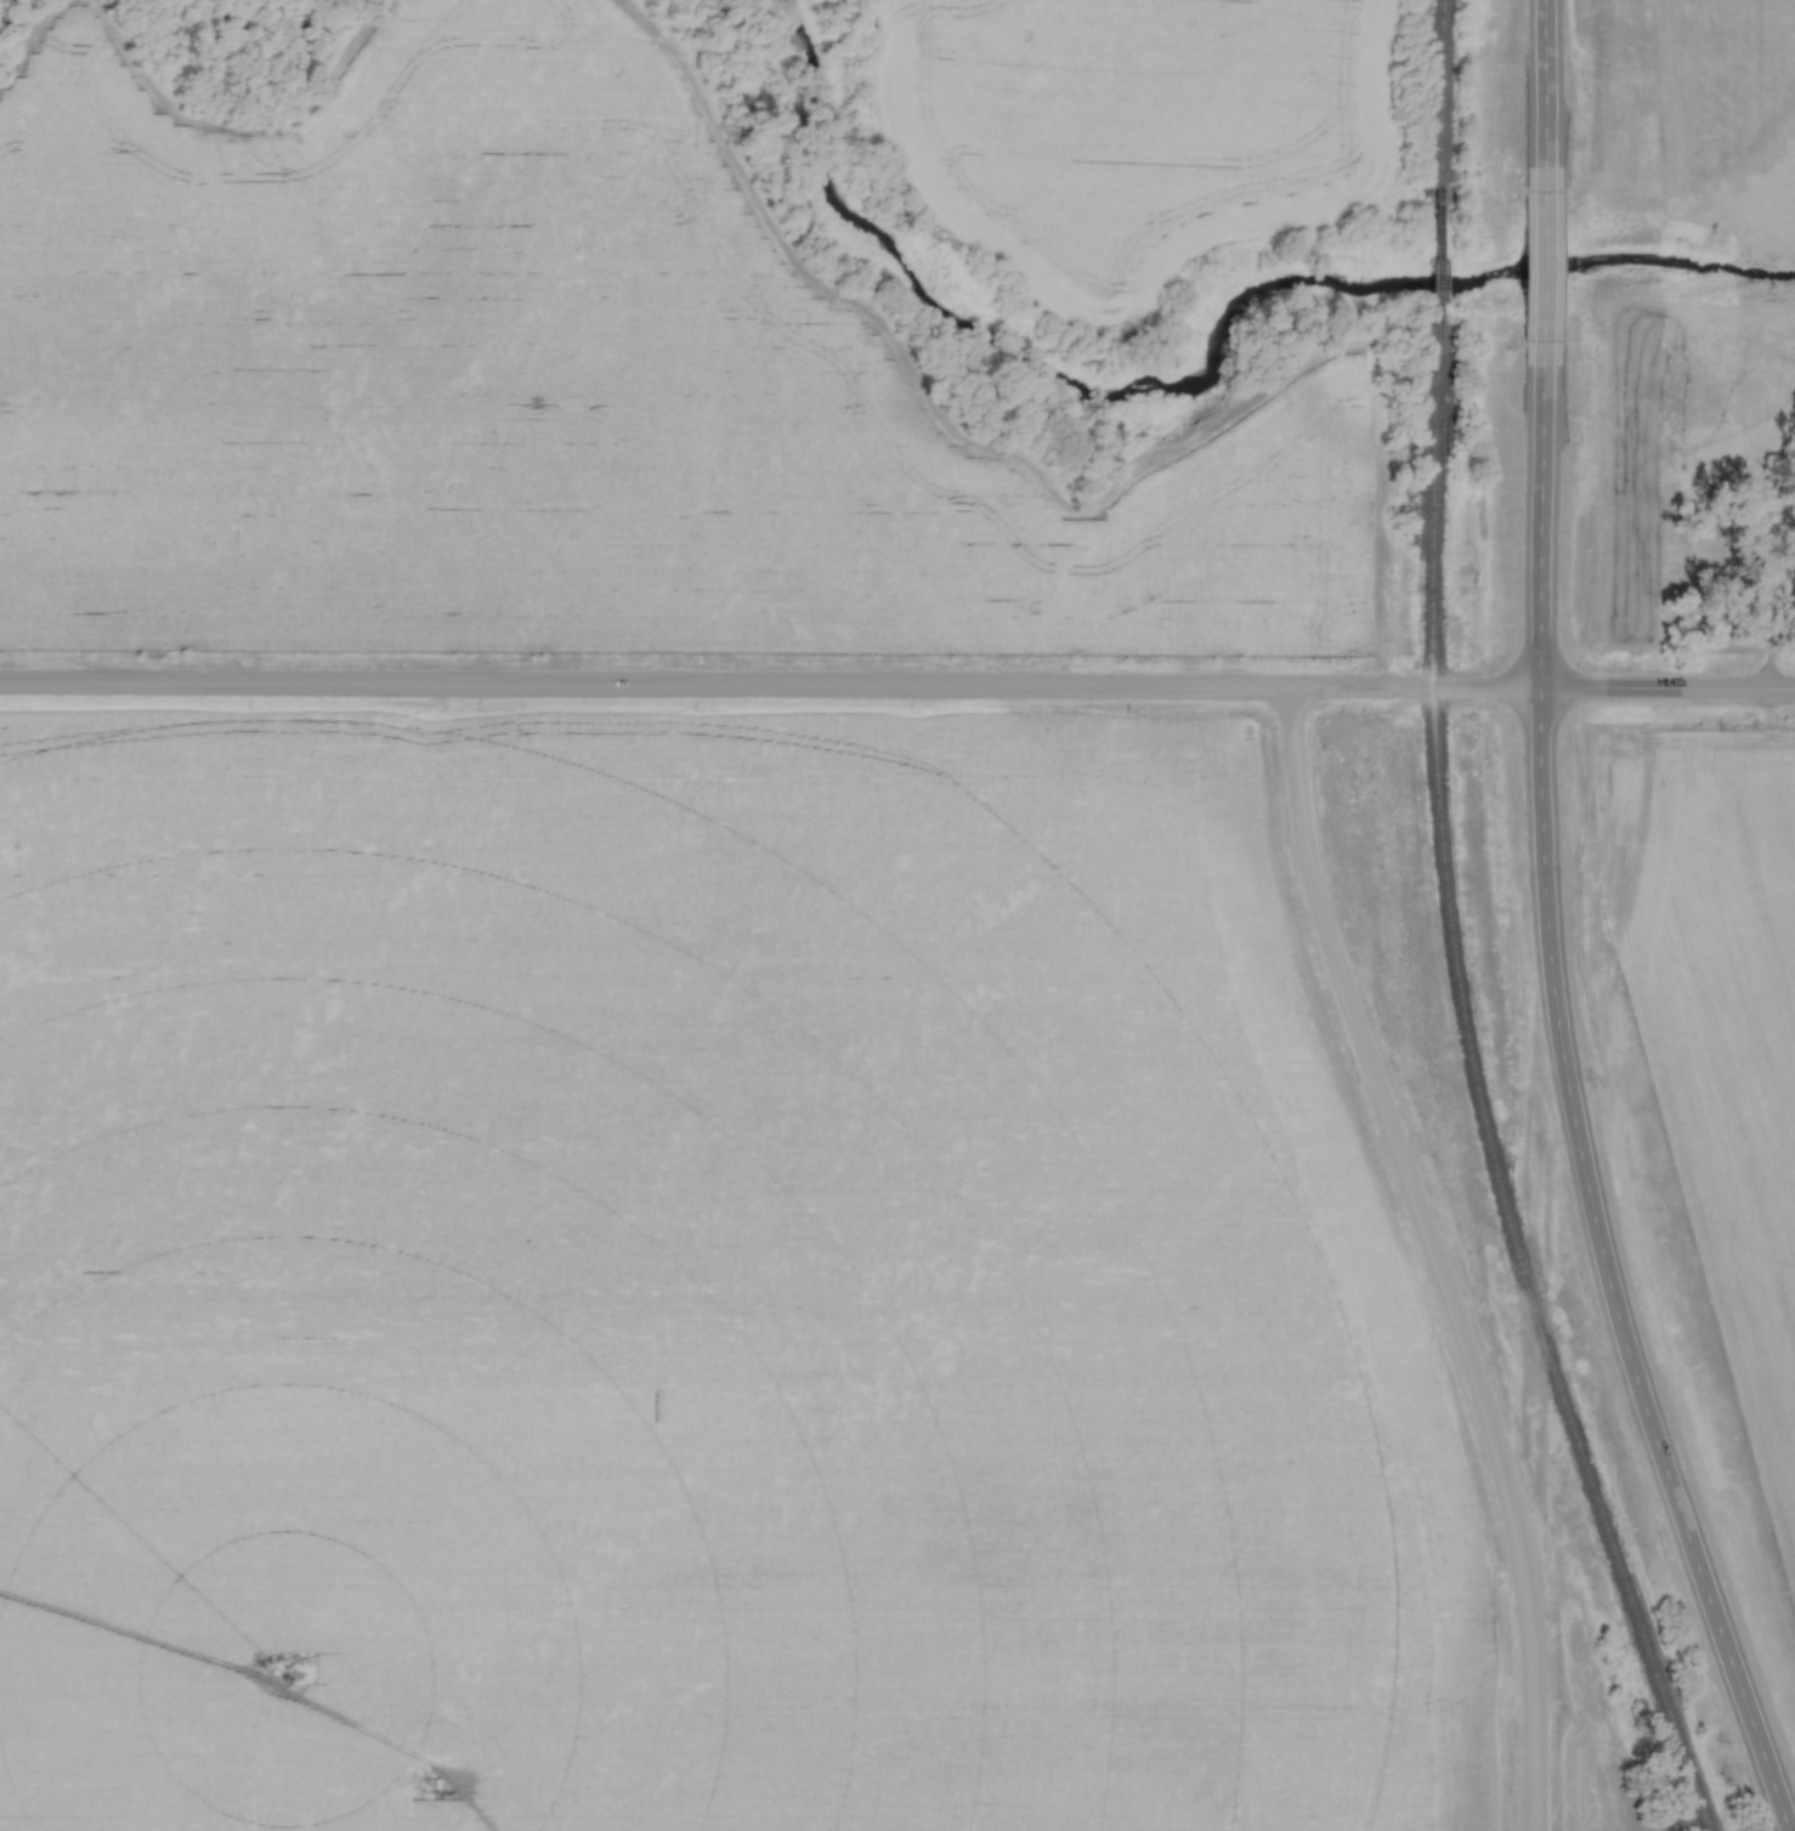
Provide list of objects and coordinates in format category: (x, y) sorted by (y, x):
road: (1536, 107)
railway: (1433, 120)
road: (1534, 270)
railway: (1427, 283)
river: (1188, 389)
road: (1533, 630)
road: (1664, 690)
road: (766, 691)
crop: (1714, 1031)
railway: (1477, 1094)
road: (1432, 1257)
road: (1644, 1389)
crop: (1587, 1741)

